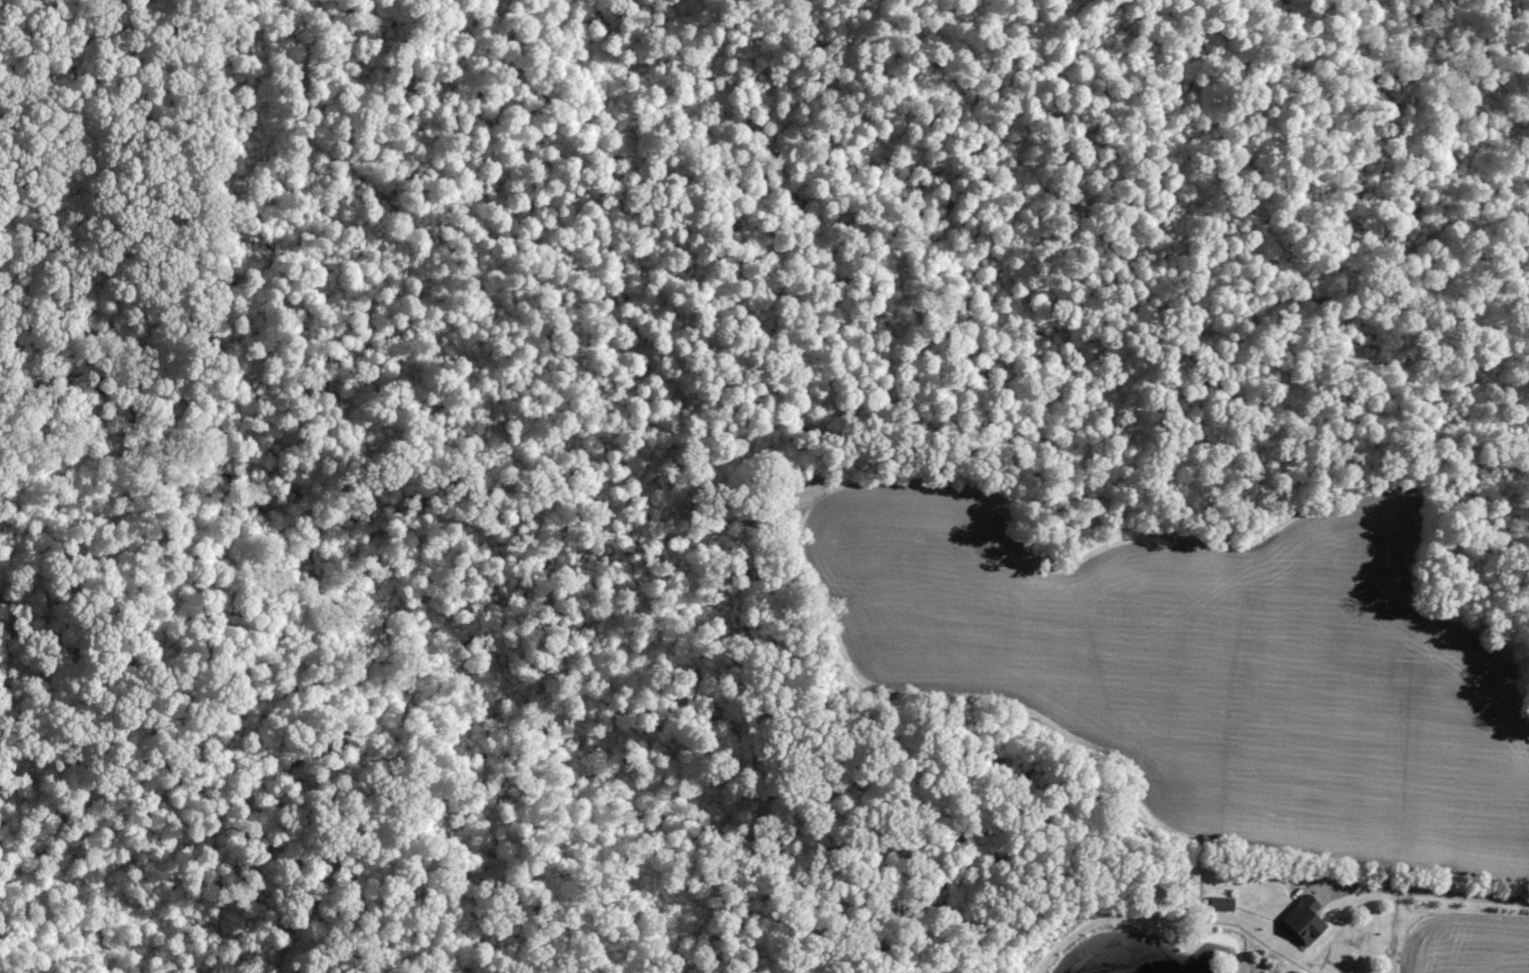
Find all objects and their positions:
building: (1300, 921)

